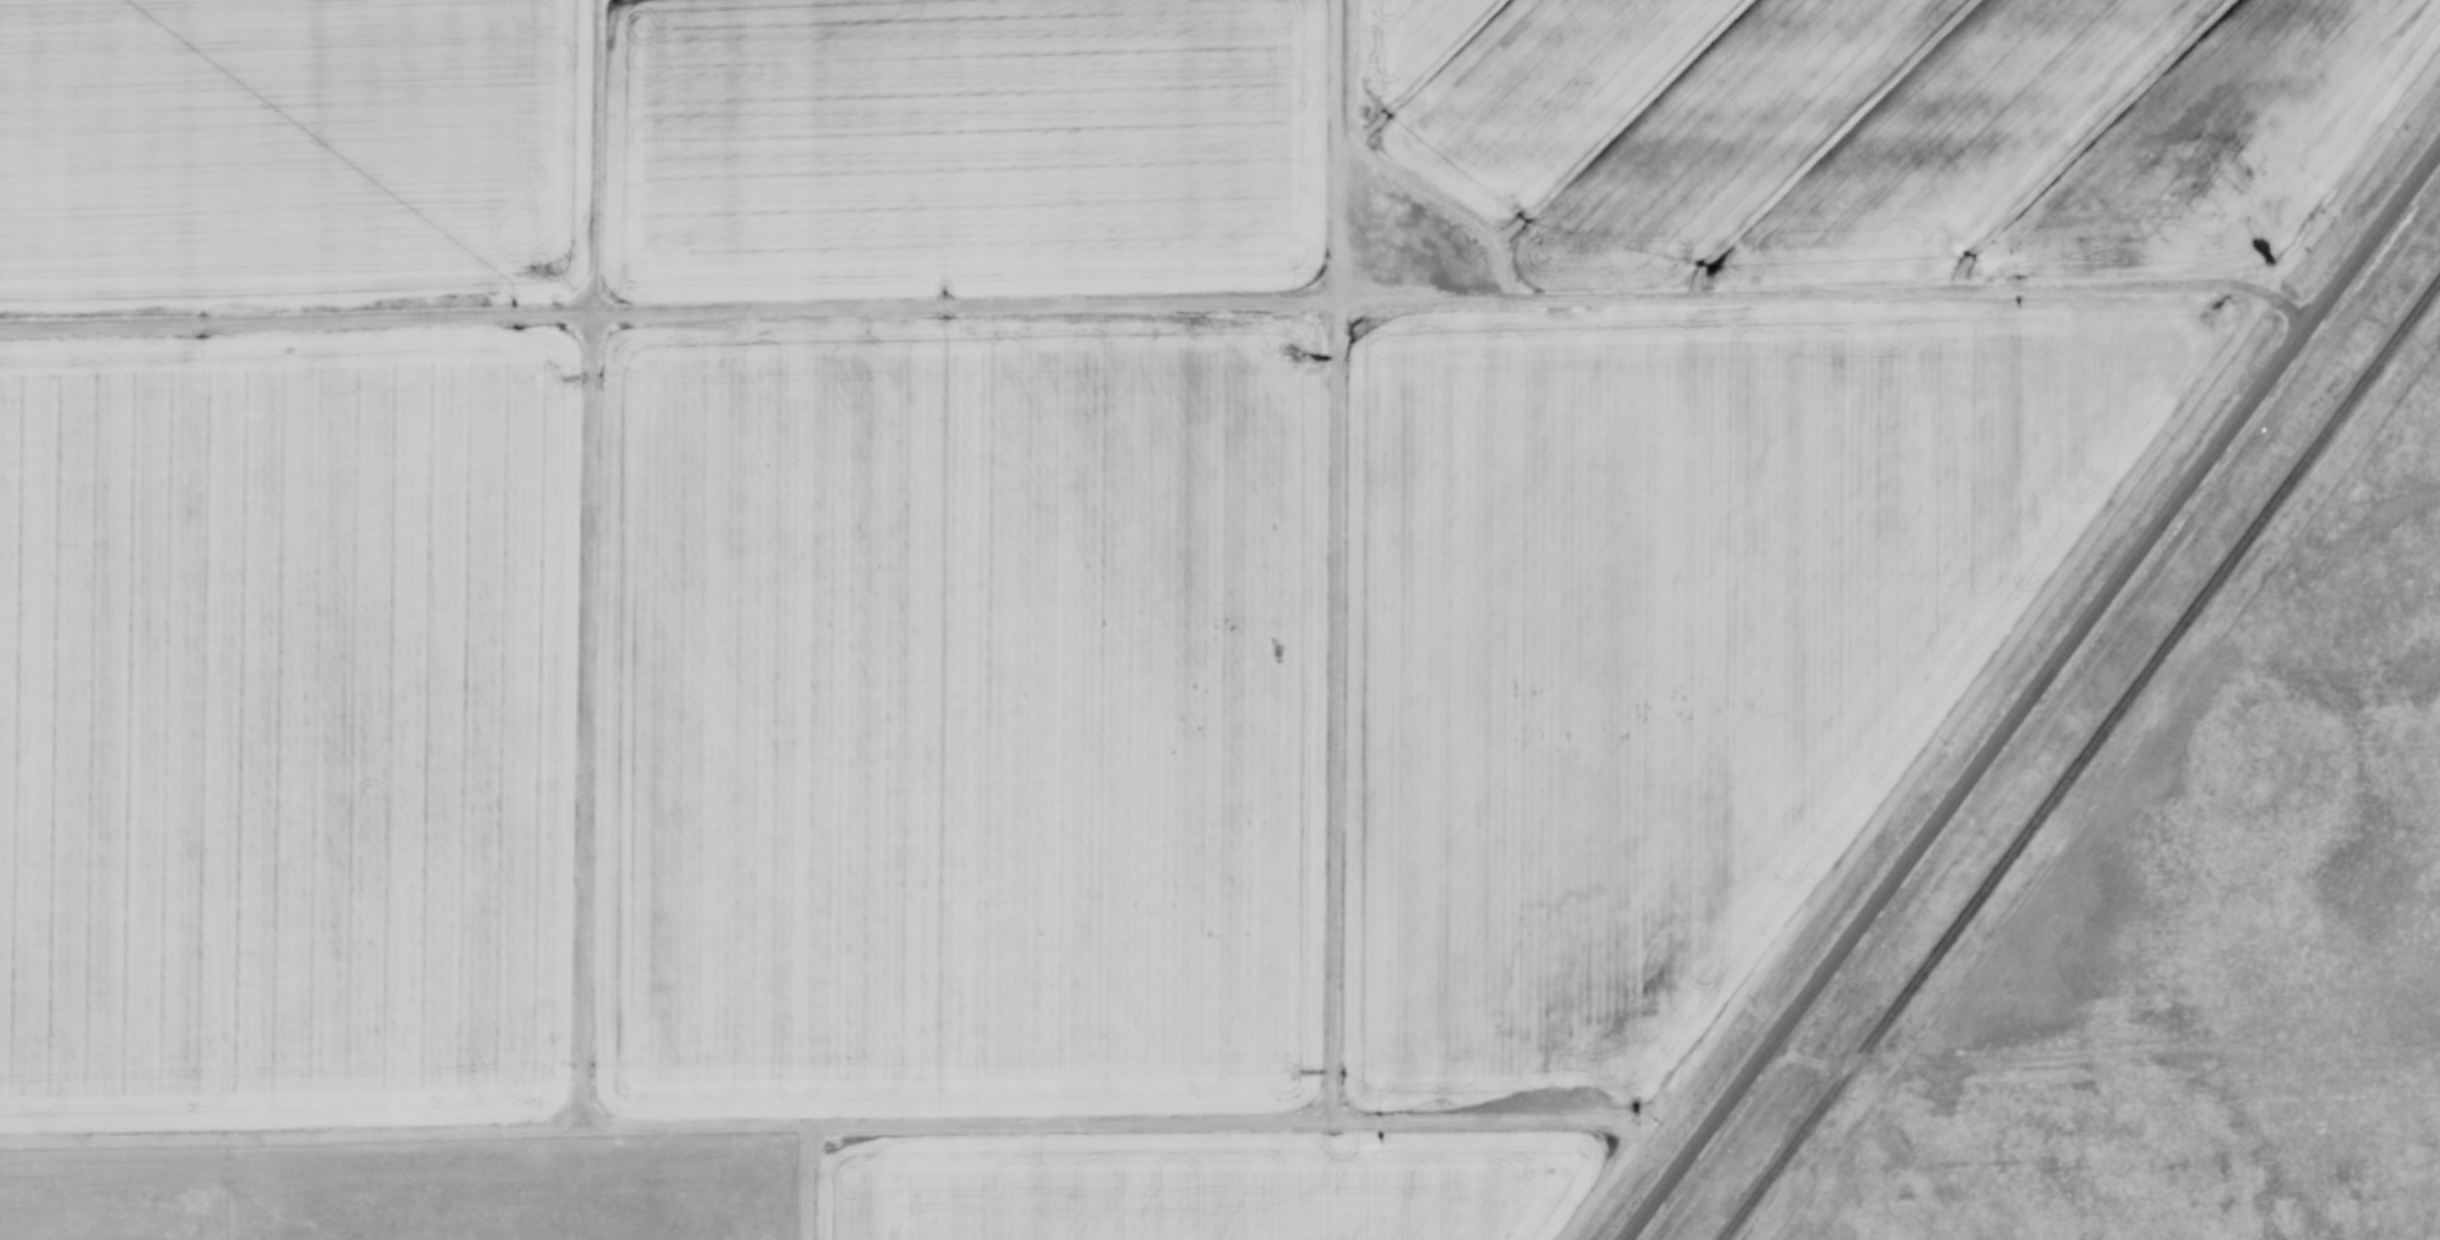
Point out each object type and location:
road: (1161, 306)
road: (2033, 695)
railway: (2082, 759)
road: (1840, 1061)

